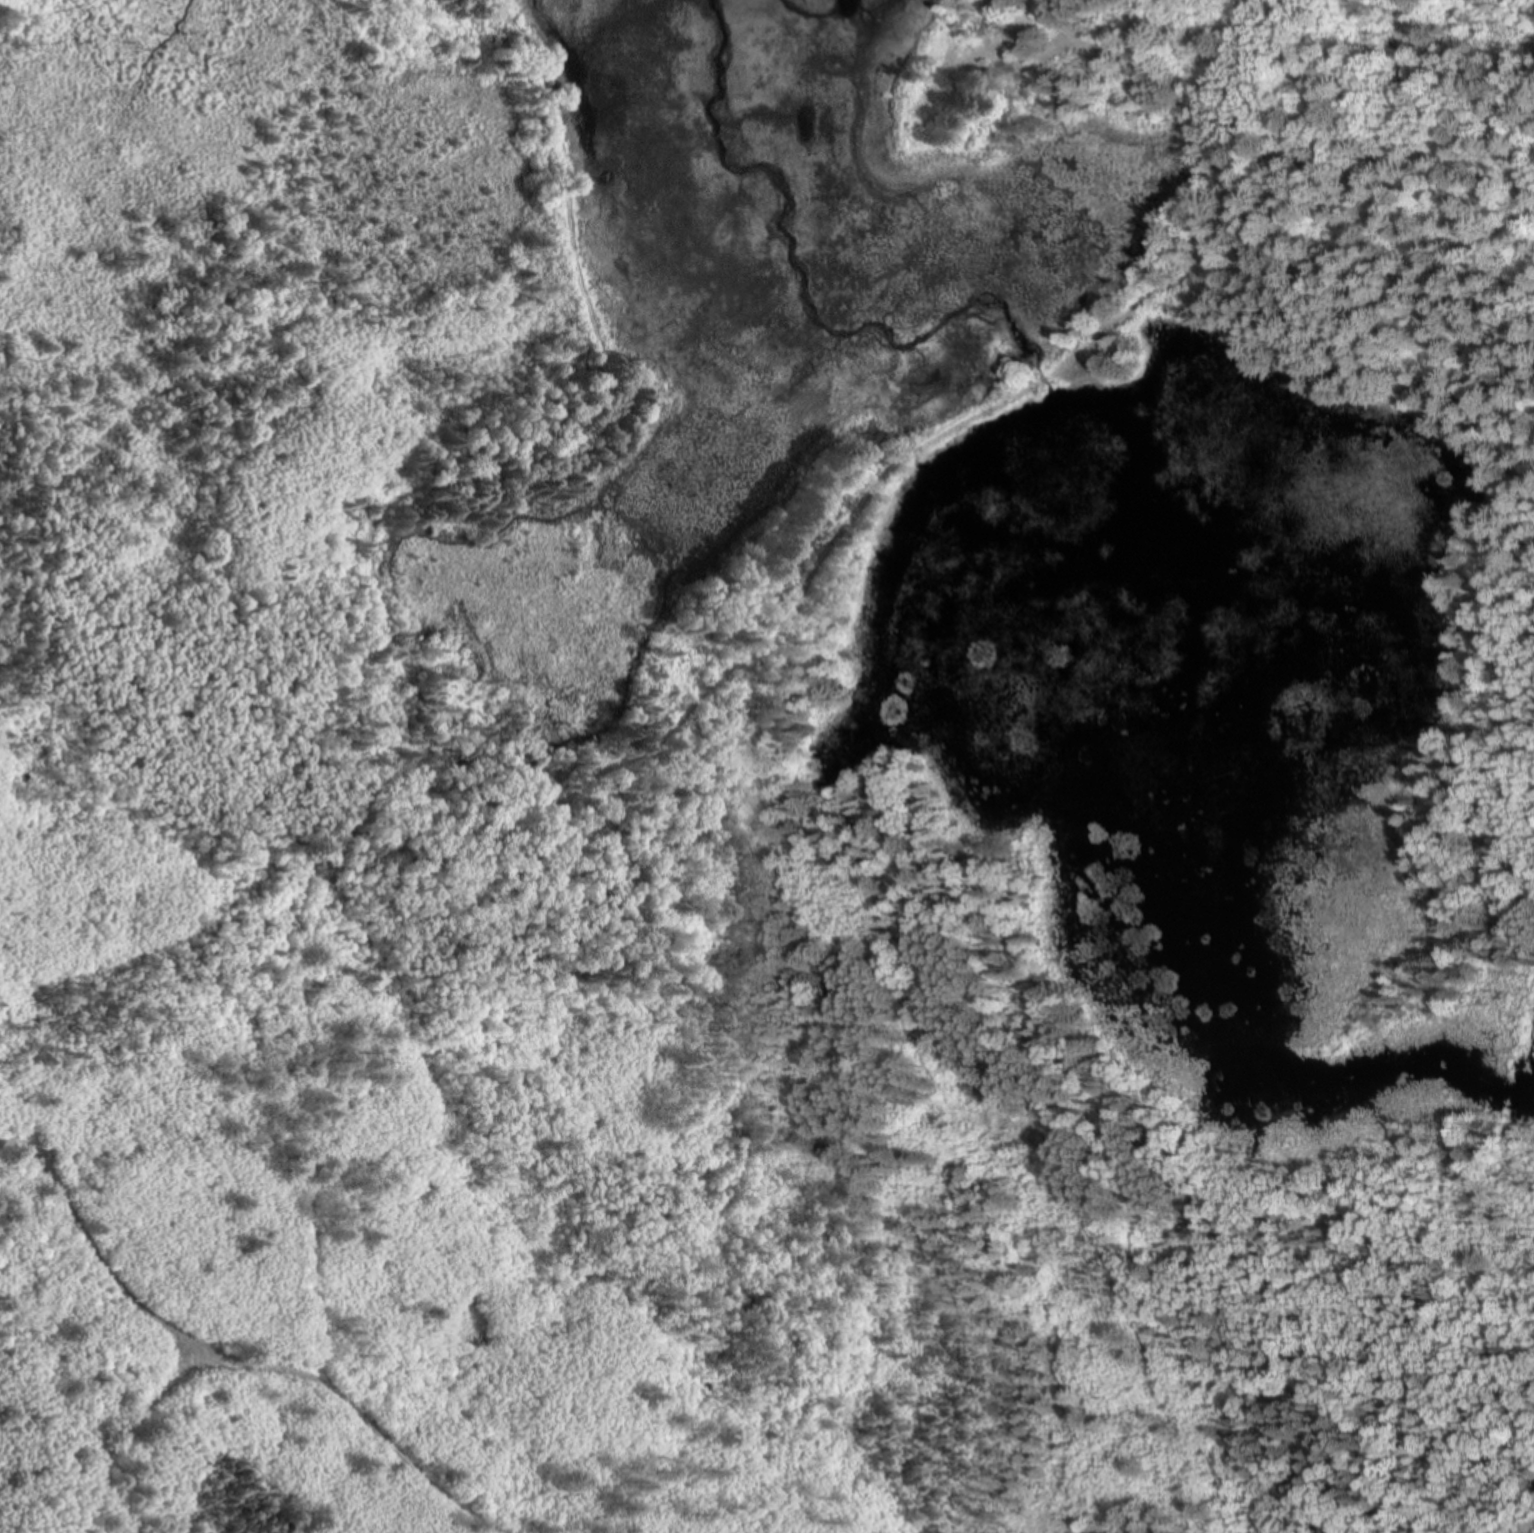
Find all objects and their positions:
road: (1255, 224)

